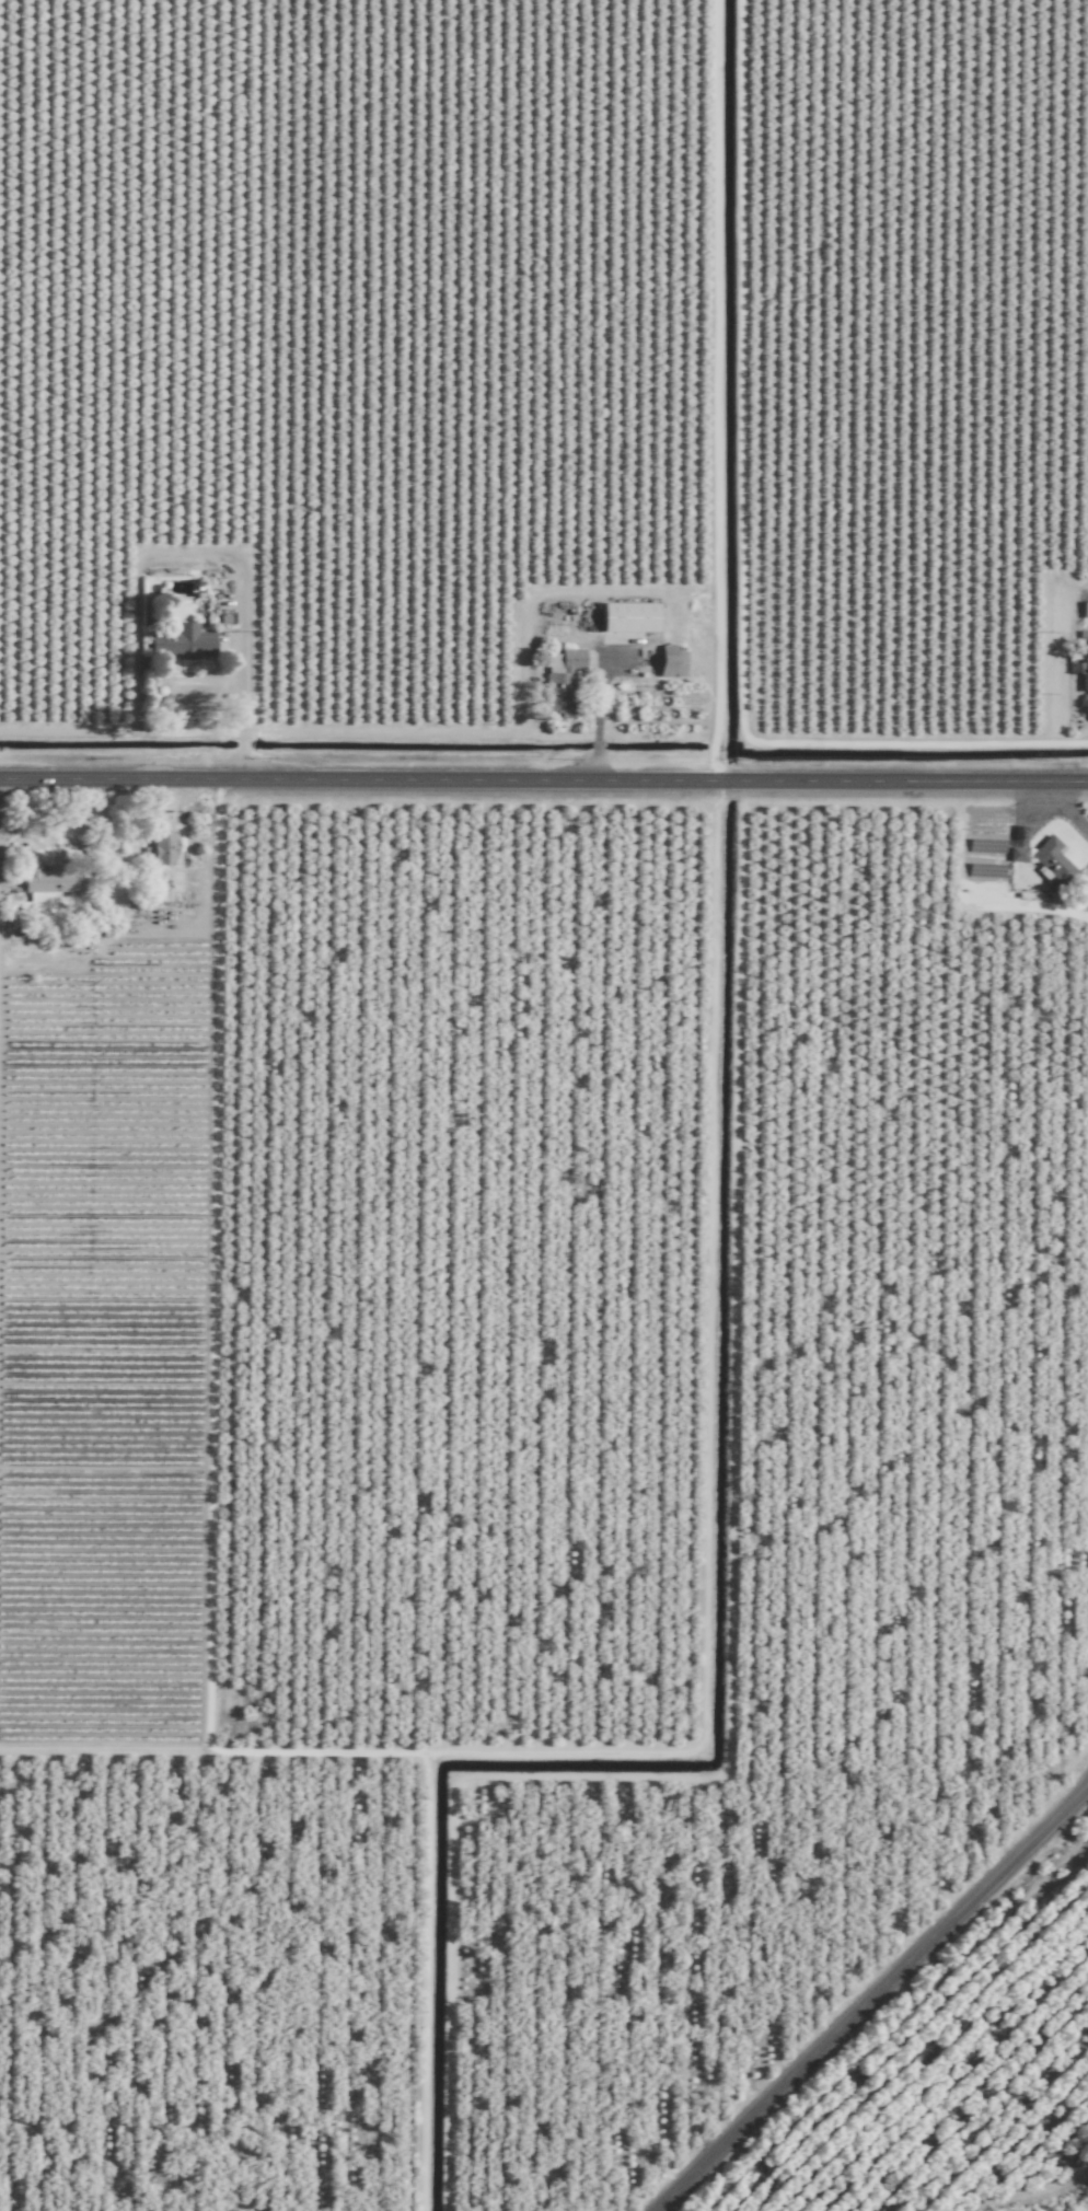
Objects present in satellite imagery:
crop: (609, 403)
building: (1086, 610)
building: (629, 617)
building: (185, 643)
building: (1085, 676)
road: (243, 679)
road: (244, 733)
road: (242, 766)
road: (544, 784)
road: (1065, 809)
building: (163, 845)
road: (171, 925)
crop: (542, 1501)
road: (871, 2000)

